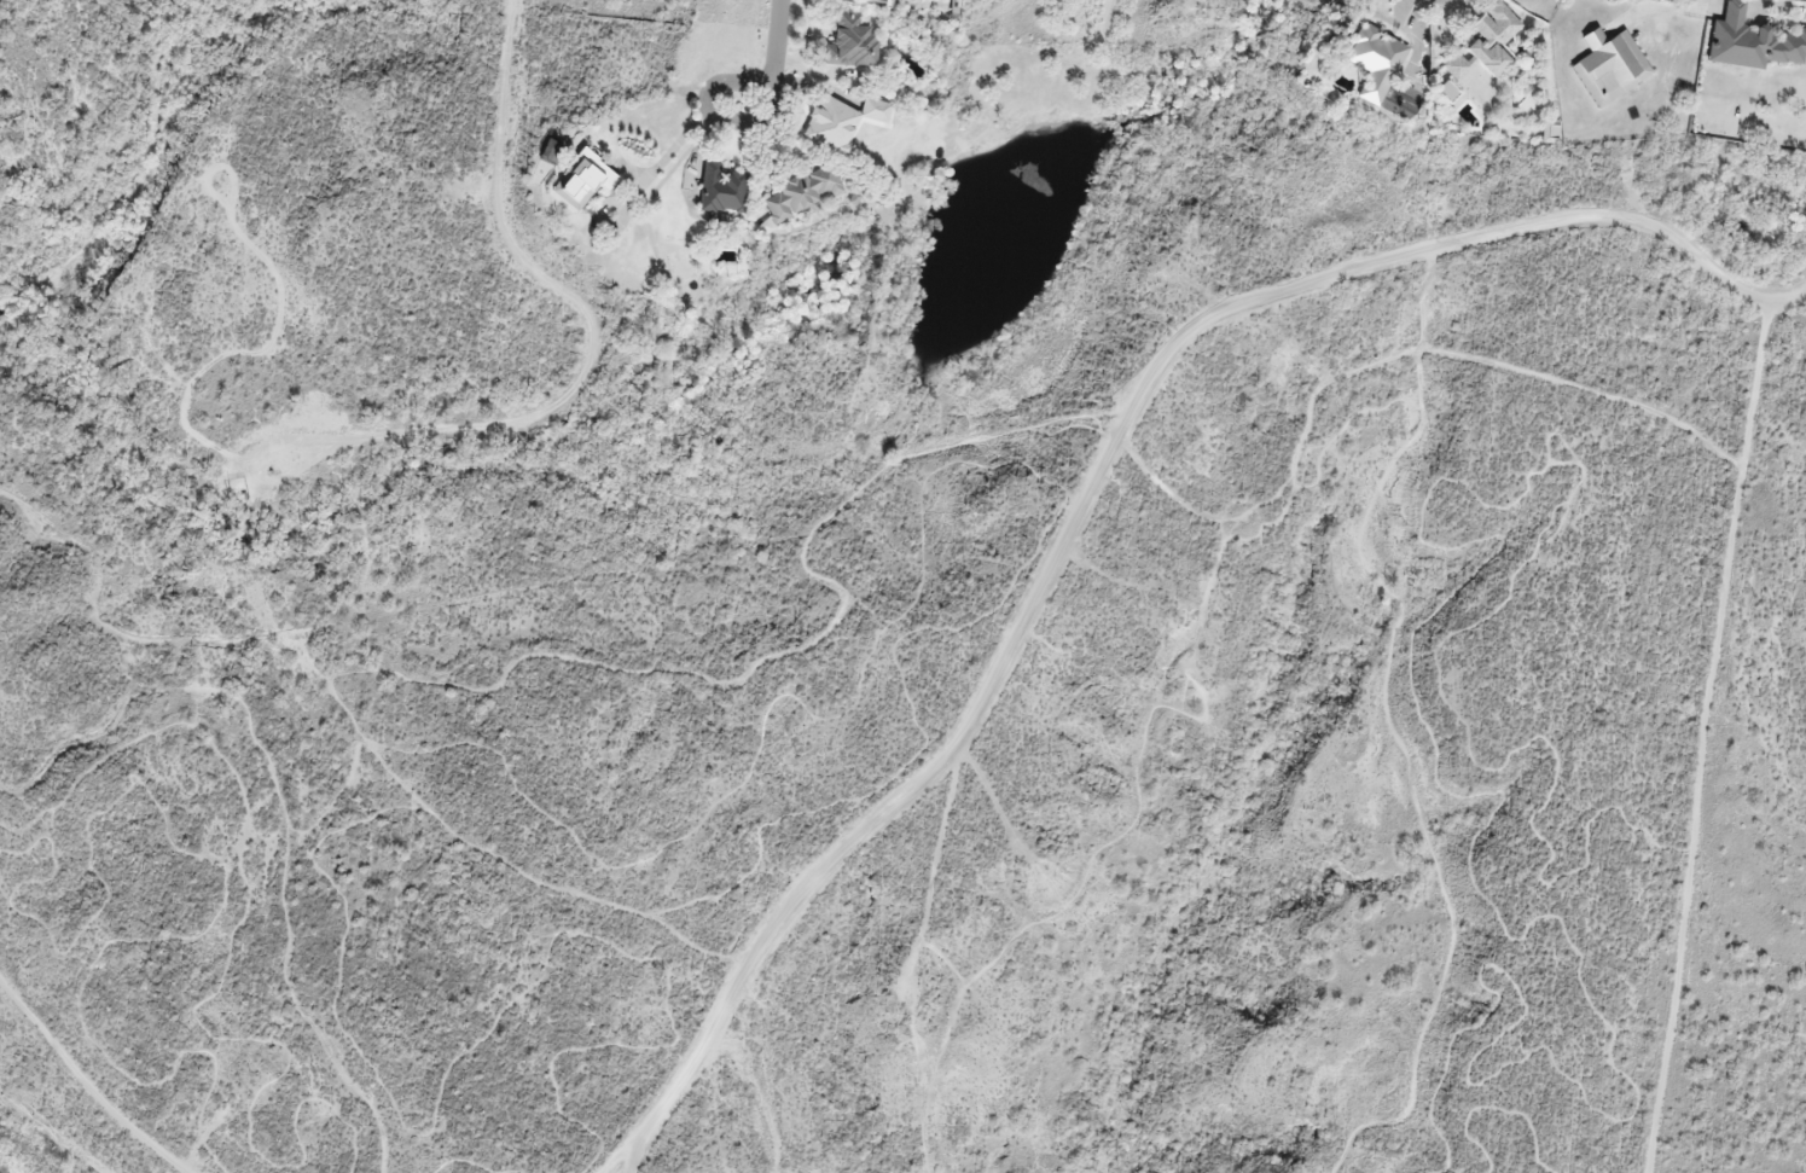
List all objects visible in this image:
building: (879, 0)
building: (1690, 0)
road: (777, 35)
building: (849, 41)
building: (1750, 41)
building: (1485, 42)
building: (1374, 60)
building: (1609, 65)
building: (1447, 91)
building: (842, 122)
building: (721, 188)
building: (802, 193)

